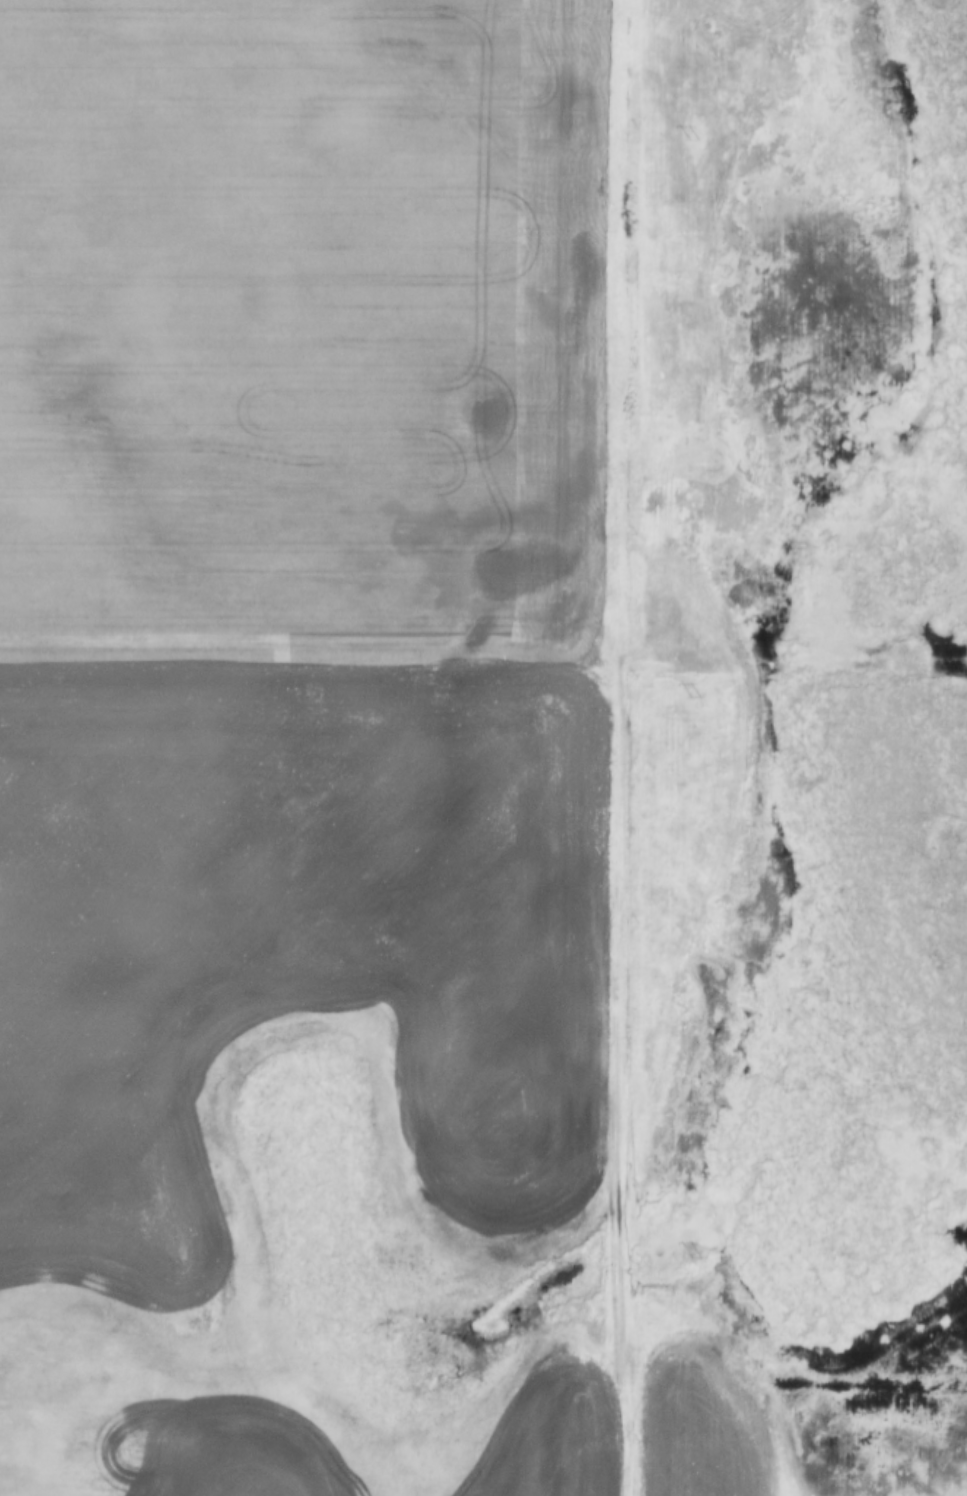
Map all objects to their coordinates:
power tower: (690, 138)
power tower: (691, 692)
road: (622, 748)
power tower: (691, 1256)

